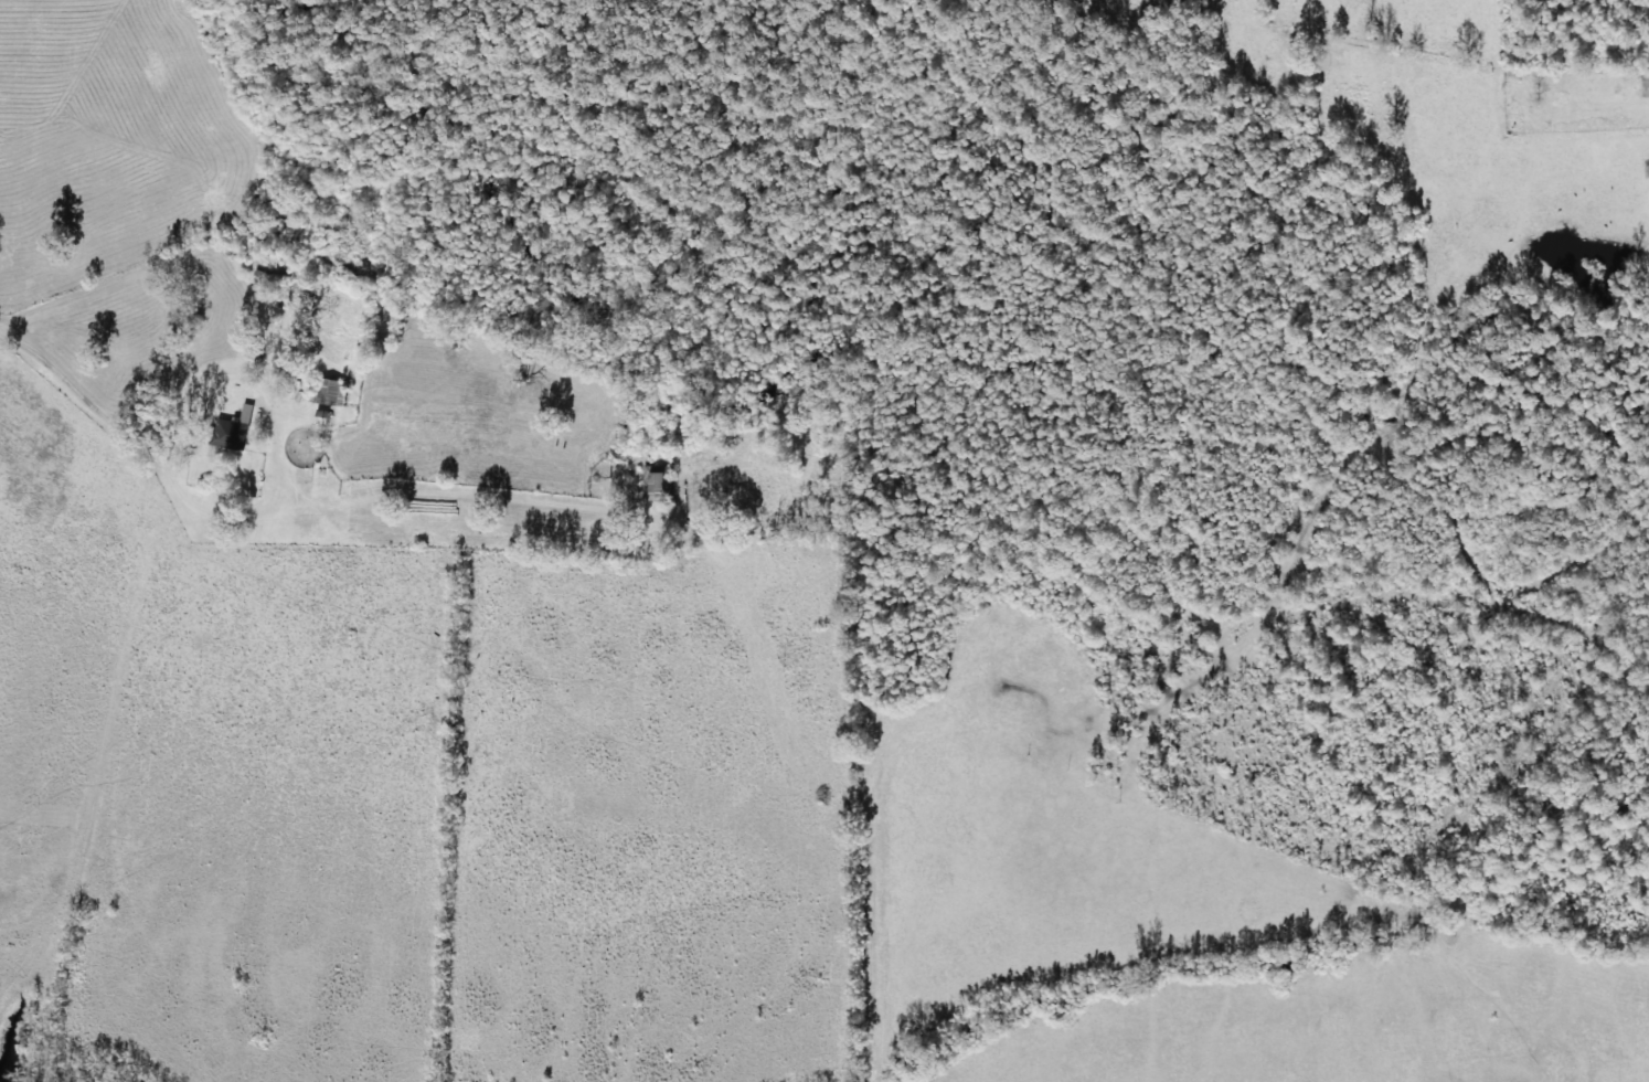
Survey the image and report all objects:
building: (1645, 87)
road: (178, 336)
building: (332, 390)
building: (251, 412)

